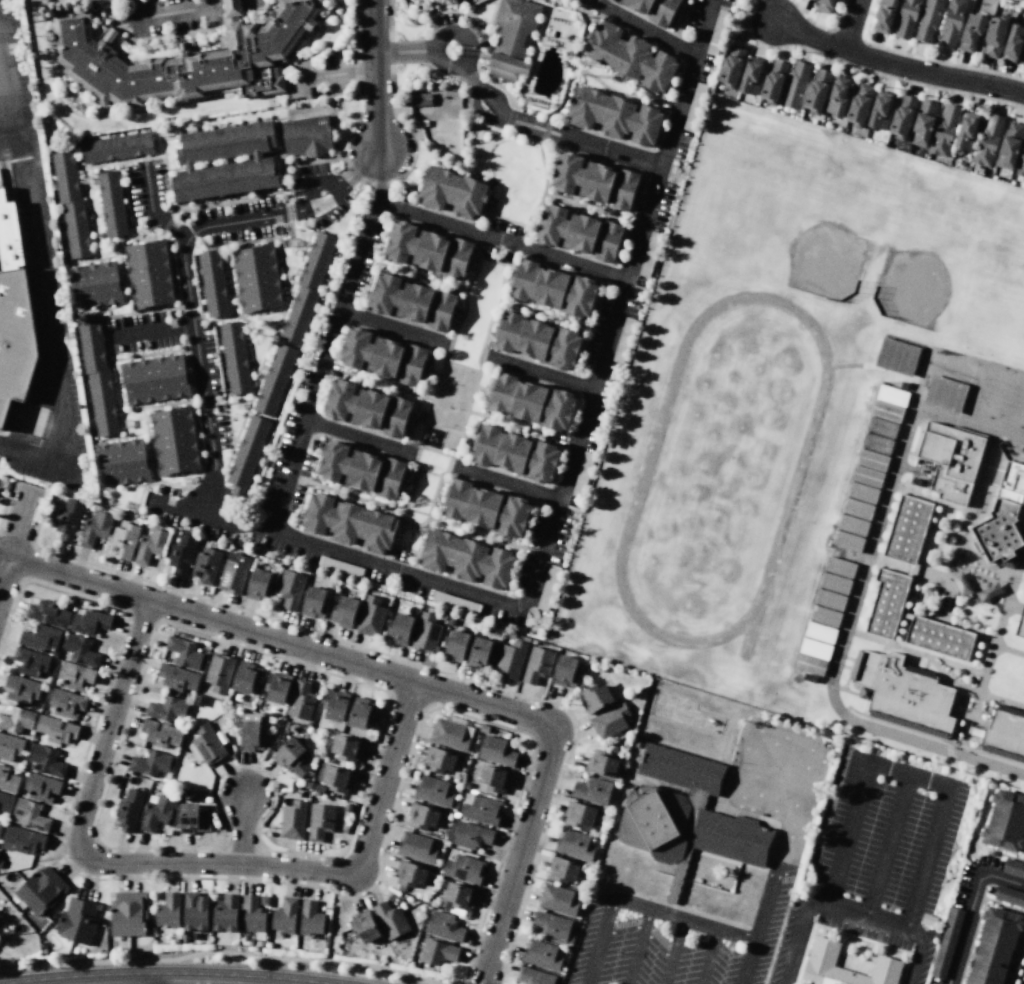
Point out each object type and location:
road: (209, 3)
road: (221, 4)
road: (796, 5)
building: (824, 6)
building: (233, 7)
building: (655, 10)
road: (747, 11)
building: (884, 15)
road: (197, 17)
building: (906, 17)
building: (928, 19)
building: (951, 22)
road: (850, 24)
road: (644, 29)
road: (706, 29)
road: (829, 29)
building: (970, 31)
road: (463, 35)
building: (994, 35)
road: (1, 37)
building: (513, 38)
building: (1013, 43)
building: (630, 55)
road: (406, 57)
building: (185, 60)
road: (934, 61)
building: (1023, 64)
road: (896, 65)
parking lot: (20, 66)
building: (731, 66)
road: (572, 68)
road: (333, 74)
road: (879, 74)
road: (378, 75)
building: (751, 75)
building: (773, 81)
building: (795, 85)
building: (817, 91)
road: (624, 93)
building: (837, 96)
building: (435, 102)
building: (859, 104)
building: (879, 110)
road: (680, 114)
building: (619, 116)
building: (902, 116)
building: (922, 123)
building: (944, 130)
building: (966, 132)
road: (551, 133)
building: (304, 134)
building: (225, 140)
building: (987, 140)
road: (8, 145)
building: (1009, 145)
building: (115, 147)
building: (1021, 165)
road: (380, 175)
building: (223, 179)
building: (598, 181)
building: (454, 193)
road: (540, 201)
park: (783, 201)
building: (71, 202)
building: (110, 203)
road: (595, 207)
road: (150, 209)
road: (644, 224)
building: (582, 233)
road: (479, 244)
building: (430, 248)
road: (478, 258)
park: (956, 260)
road: (183, 266)
building: (149, 273)
building: (254, 277)
road: (39, 278)
building: (212, 283)
building: (96, 284)
building: (308, 286)
building: (557, 289)
building: (414, 302)
parking lot: (55, 312)
park: (477, 315)
road: (554, 317)
road: (394, 325)
building: (17, 328)
road: (152, 331)
building: (542, 340)
road: (447, 342)
building: (235, 356)
building: (386, 356)
building: (897, 356)
road: (487, 357)
park: (1021, 357)
road: (878, 367)
building: (97, 374)
road: (542, 374)
building: (154, 379)
building: (274, 380)
road: (379, 382)
park: (996, 392)
building: (943, 394)
building: (891, 395)
park: (451, 398)
building: (535, 402)
park: (1018, 404)
building: (369, 409)
building: (887, 411)
road: (309, 419)
road: (969, 422)
building: (882, 427)
road: (520, 428)
road: (443, 429)
road: (359, 436)
building: (175, 440)
building: (877, 443)
building: (247, 452)
road: (435, 452)
road: (412, 453)
building: (520, 454)
road: (453, 456)
building: (872, 460)
building: (951, 460)
park: (432, 461)
building: (123, 462)
road: (417, 467)
road: (454, 467)
building: (362, 470)
track: (722, 471)
track: (798, 472)
road: (430, 474)
building: (867, 476)
road: (507, 483)
building: (862, 492)
park: (424, 493)
road: (6, 502)
building: (857, 508)
building: (490, 509)
road: (416, 512)
road: (212, 515)
building: (67, 519)
building: (1003, 520)
road: (1020, 520)
building: (350, 522)
road: (1022, 523)
building: (852, 525)
building: (94, 529)
building: (907, 529)
road: (15, 537)
building: (115, 541)
building: (847, 541)
building: (151, 545)
building: (181, 554)
building: (471, 560)
building: (198, 566)
building: (840, 567)
building: (234, 572)
road: (930, 577)
building: (834, 583)
building: (258, 585)
building: (290, 589)
building: (337, 592)
road: (980, 592)
building: (830, 599)
building: (313, 602)
building: (452, 602)
building: (887, 603)
building: (48, 612)
building: (343, 612)
building: (370, 616)
building: (441, 616)
building: (825, 616)
building: (450, 621)
building: (89, 622)
road: (848, 624)
building: (1020, 624)
road: (295, 627)
building: (399, 628)
building: (820, 632)
building: (505, 633)
building: (425, 634)
building: (511, 635)
building: (40, 638)
building: (525, 638)
building: (939, 638)
building: (533, 642)
building: (454, 644)
road: (992, 646)
building: (815, 649)
building: (80, 650)
road: (1008, 650)
building: (183, 652)
road: (914, 652)
building: (480, 654)
building: (510, 659)
building: (39, 661)
road: (112, 662)
building: (536, 664)
building: (809, 664)
building: (565, 671)
building: (219, 672)
building: (65, 676)
building: (177, 677)
building: (246, 677)
road: (402, 678)
road: (949, 682)
road: (366, 685)
building: (275, 686)
building: (31, 689)
building: (902, 692)
building: (597, 696)
building: (300, 699)
building: (198, 700)
building: (56, 703)
building: (334, 704)
building: (166, 708)
building: (361, 712)
road: (968, 718)
building: (17, 719)
building: (609, 721)
building: (275, 722)
building: (307, 724)
road: (969, 724)
building: (484, 728)
building: (55, 729)
road: (757, 729)
road: (518, 731)
building: (250, 732)
building: (159, 733)
building: (450, 734)
building: (1004, 734)
building: (221, 737)
building: (267, 739)
building: (207, 744)
building: (10, 747)
building: (346, 747)
building: (495, 750)
building: (291, 756)
building: (438, 759)
building: (47, 760)
building: (149, 762)
building: (601, 763)
road: (769, 771)
road: (892, 771)
building: (335, 777)
building: (493, 778)
building: (7, 780)
building: (307, 784)
building: (465, 784)
building: (31, 787)
building: (299, 787)
building: (318, 788)
road: (1011, 788)
building: (591, 790)
building: (431, 791)
building: (299, 794)
building: (5, 802)
building: (346, 807)
building: (128, 809)
building: (480, 809)
building: (156, 812)
building: (30, 815)
building: (579, 815)
building: (685, 815)
building: (421, 816)
building: (189, 818)
building: (292, 820)
building: (319, 821)
building: (1006, 822)
building: (0, 825)
road: (242, 830)
building: (471, 835)
parking lot: (889, 837)
building: (20, 839)
building: (573, 844)
road: (887, 846)
road: (174, 847)
building: (415, 847)
road: (1003, 856)
road: (1023, 860)
road: (184, 863)
road: (533, 866)
building: (464, 868)
building: (1013, 868)
building: (562, 869)
building: (409, 874)
road: (240, 879)
building: (41, 890)
building: (1009, 896)
building: (457, 898)
building: (557, 899)
building: (263, 900)
road: (766, 900)
road: (641, 907)
road: (969, 908)
building: (168, 910)
building: (194, 911)
building: (225, 913)
building: (127, 914)
building: (252, 916)
building: (284, 917)
road: (865, 917)
building: (310, 918)
building: (78, 920)
building: (390, 920)
road: (976, 920)
building: (552, 925)
road: (331, 926)
building: (444, 926)
building: (363, 927)
building: (9, 930)
building: (194, 935)
building: (184, 938)
building: (178, 940)
parking lot: (672, 942)
building: (946, 942)
road: (637, 947)
building: (993, 947)
road: (215, 951)
road: (672, 951)
building: (436, 952)
building: (541, 954)
road: (708, 956)
building: (819, 960)
road: (1018, 964)
building: (533, 976)
road: (463, 981)

